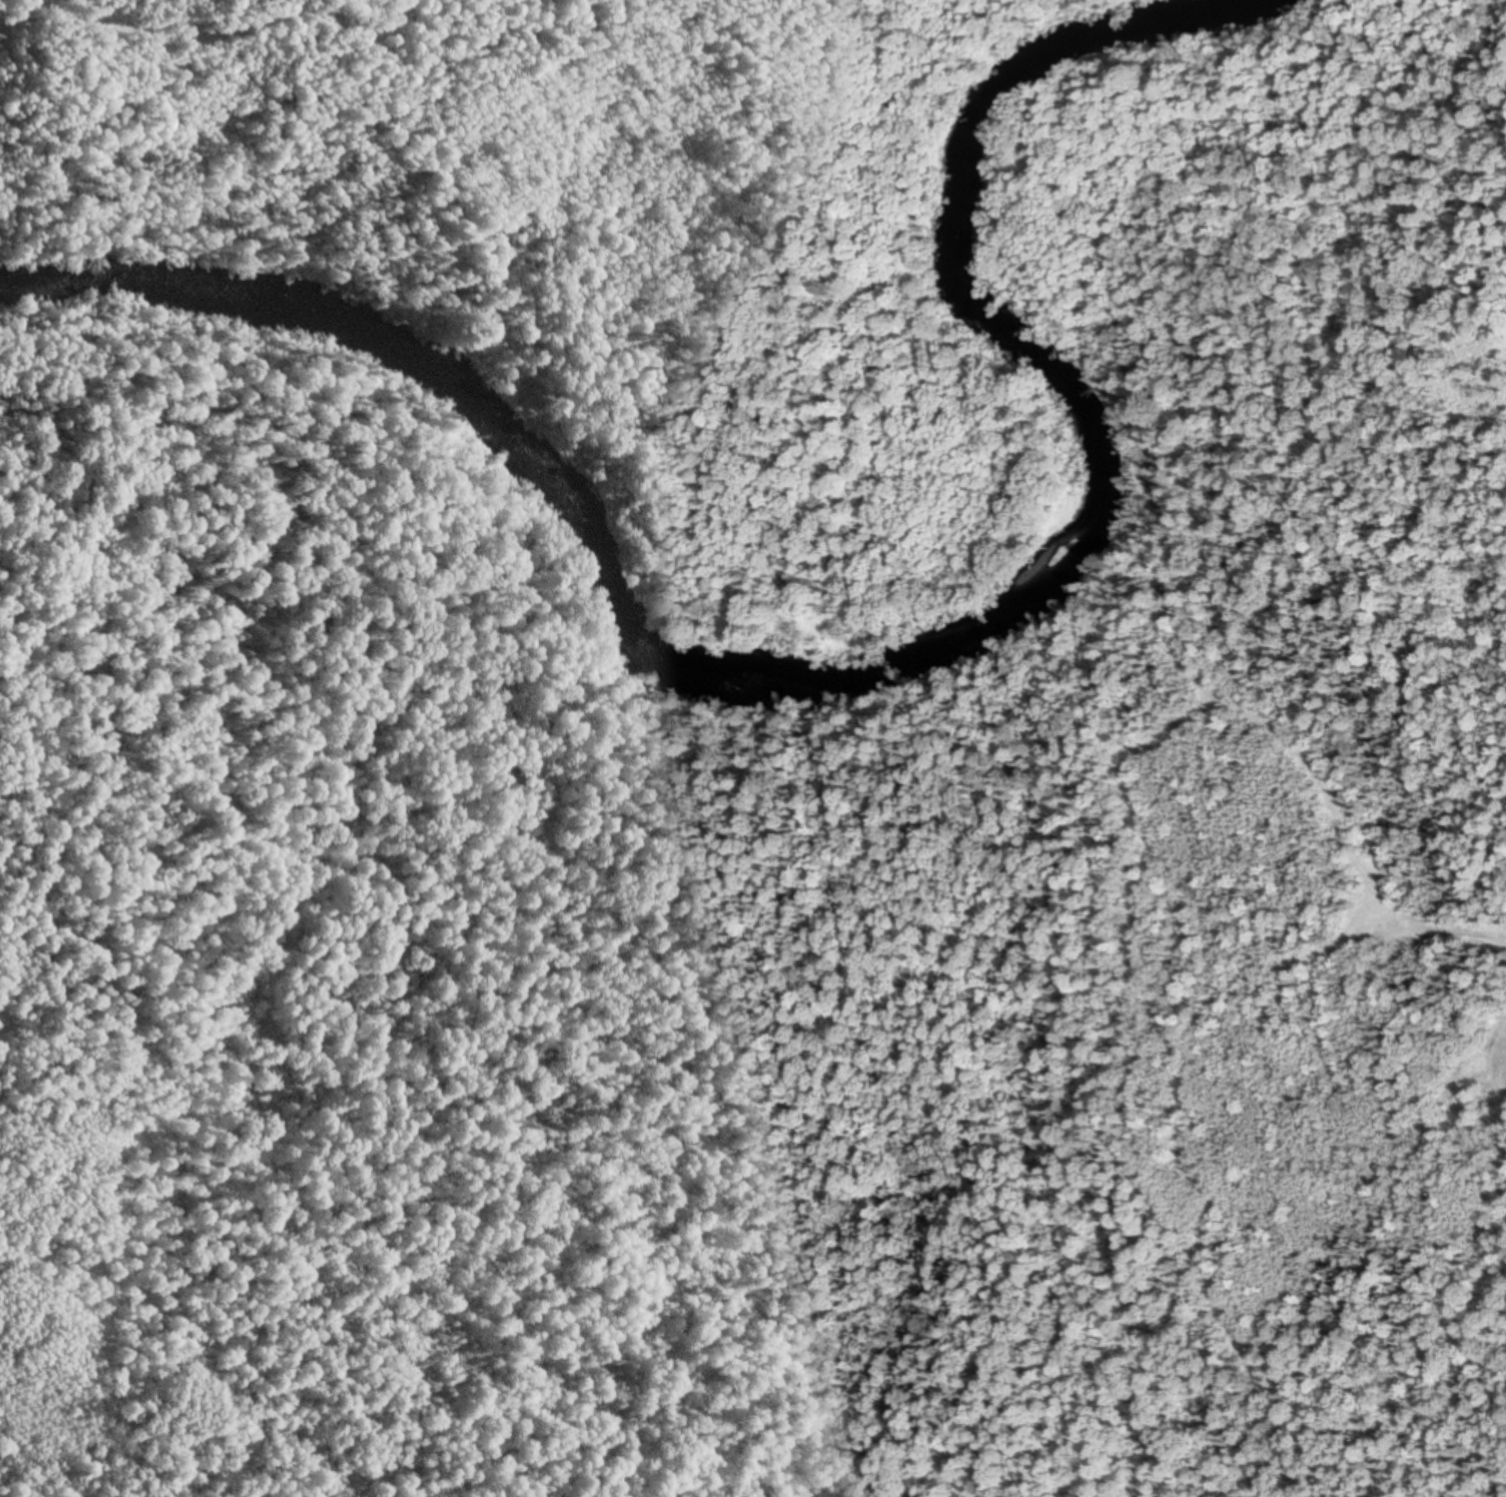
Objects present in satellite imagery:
river: (875, 666)

